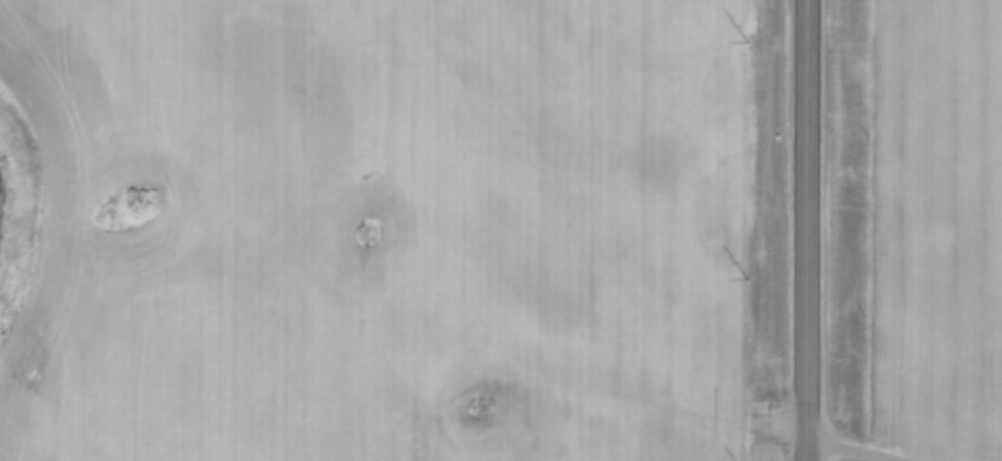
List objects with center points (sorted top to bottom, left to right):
road: (805, 230)
road: (843, 449)

